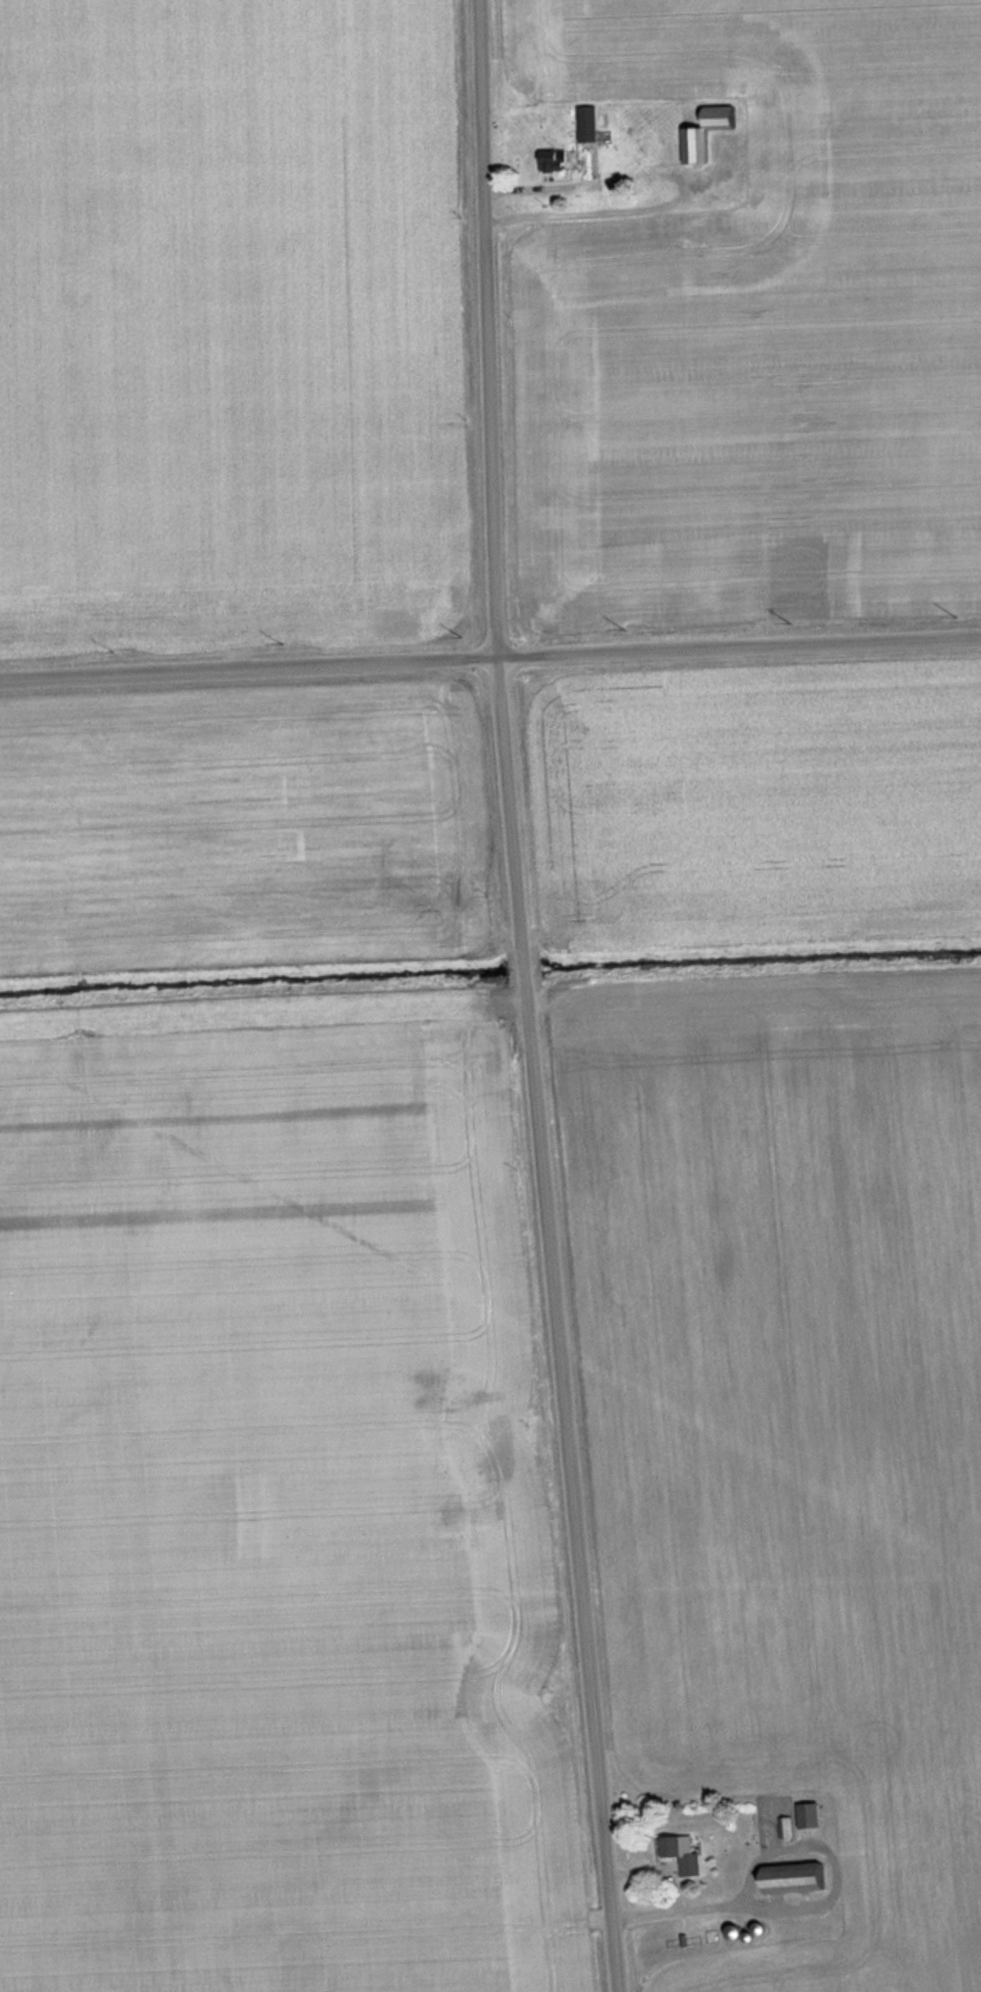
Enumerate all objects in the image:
building: (590, 125)
building: (701, 146)
building: (556, 161)
road: (490, 658)
road: (522, 997)
building: (814, 1817)
building: (685, 1854)
building: (802, 1879)

